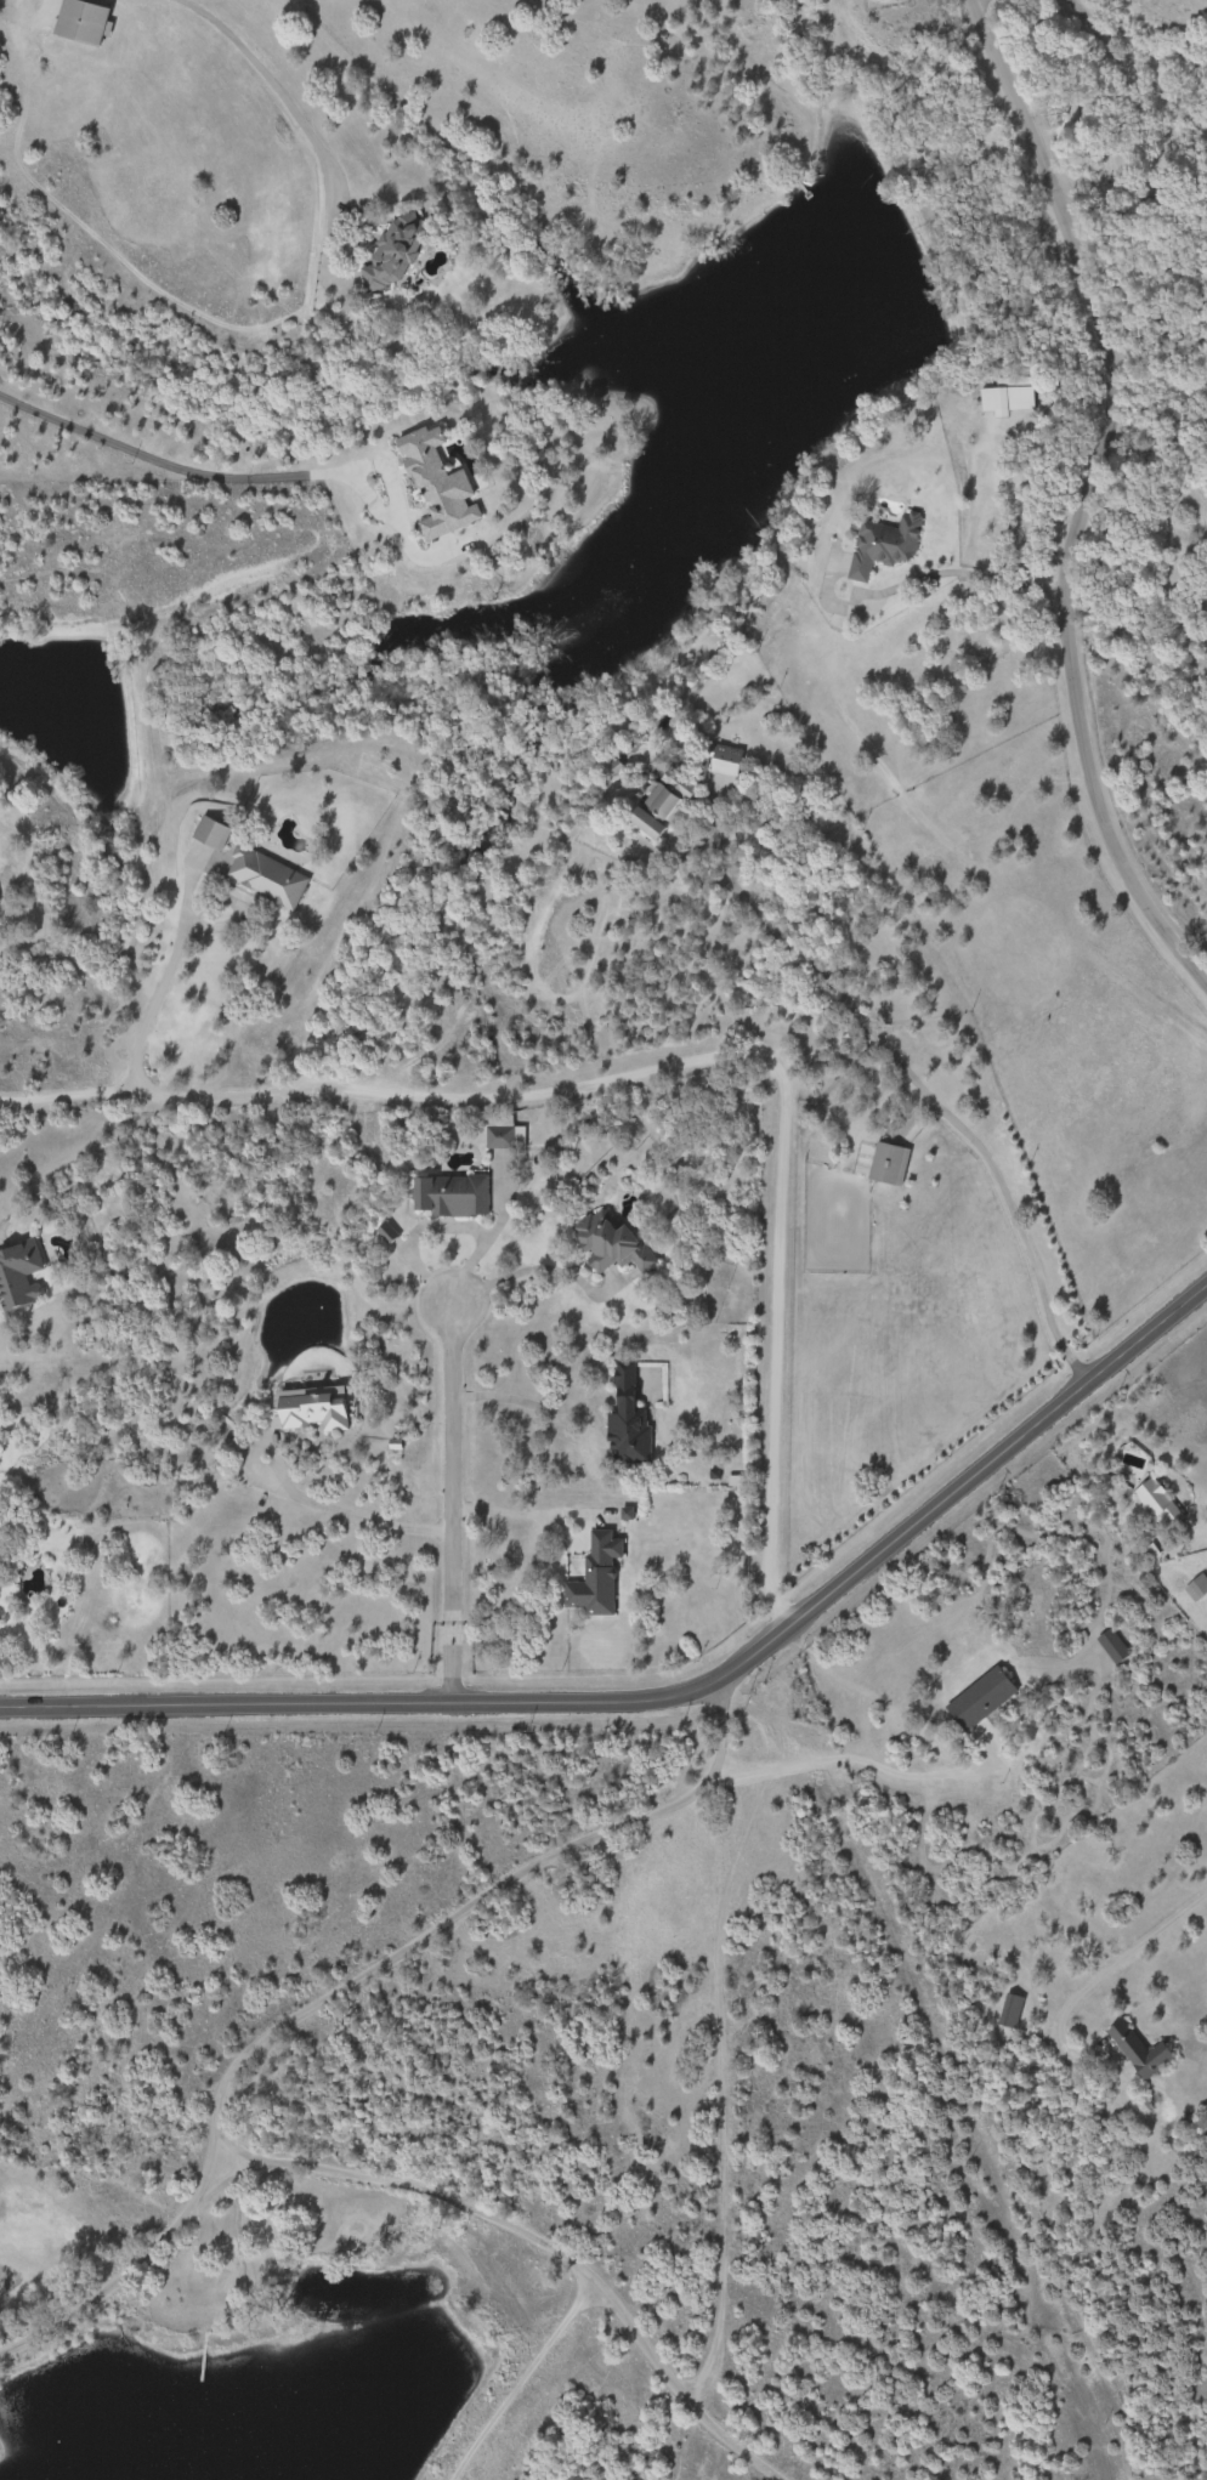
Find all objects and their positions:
road: (970, 0)
building: (84, 21)
road: (1132, 45)
building: (397, 251)
road: (229, 314)
building: (1013, 396)
road: (189, 465)
road: (970, 494)
road: (1084, 495)
building: (885, 544)
road: (958, 572)
road: (1132, 634)
building: (727, 761)
building: (662, 807)
building: (211, 833)
building: (268, 876)
road: (160, 976)
road: (673, 1060)
road: (931, 1100)
building: (505, 1134)
building: (889, 1164)
building: (453, 1196)
building: (612, 1243)
road: (542, 1267)
building: (19, 1275)
road: (526, 1402)
building: (318, 1408)
building: (630, 1431)
building: (1157, 1502)
road: (449, 1503)
road: (327, 1506)
road: (527, 1511)
building: (597, 1577)
building: (1112, 1647)
road: (673, 1696)
building: (981, 1697)
road: (840, 1758)
road: (1096, 1974)
building: (1010, 2010)
building: (1139, 2049)
road: (214, 2118)
road: (125, 2270)
road: (511, 2382)

